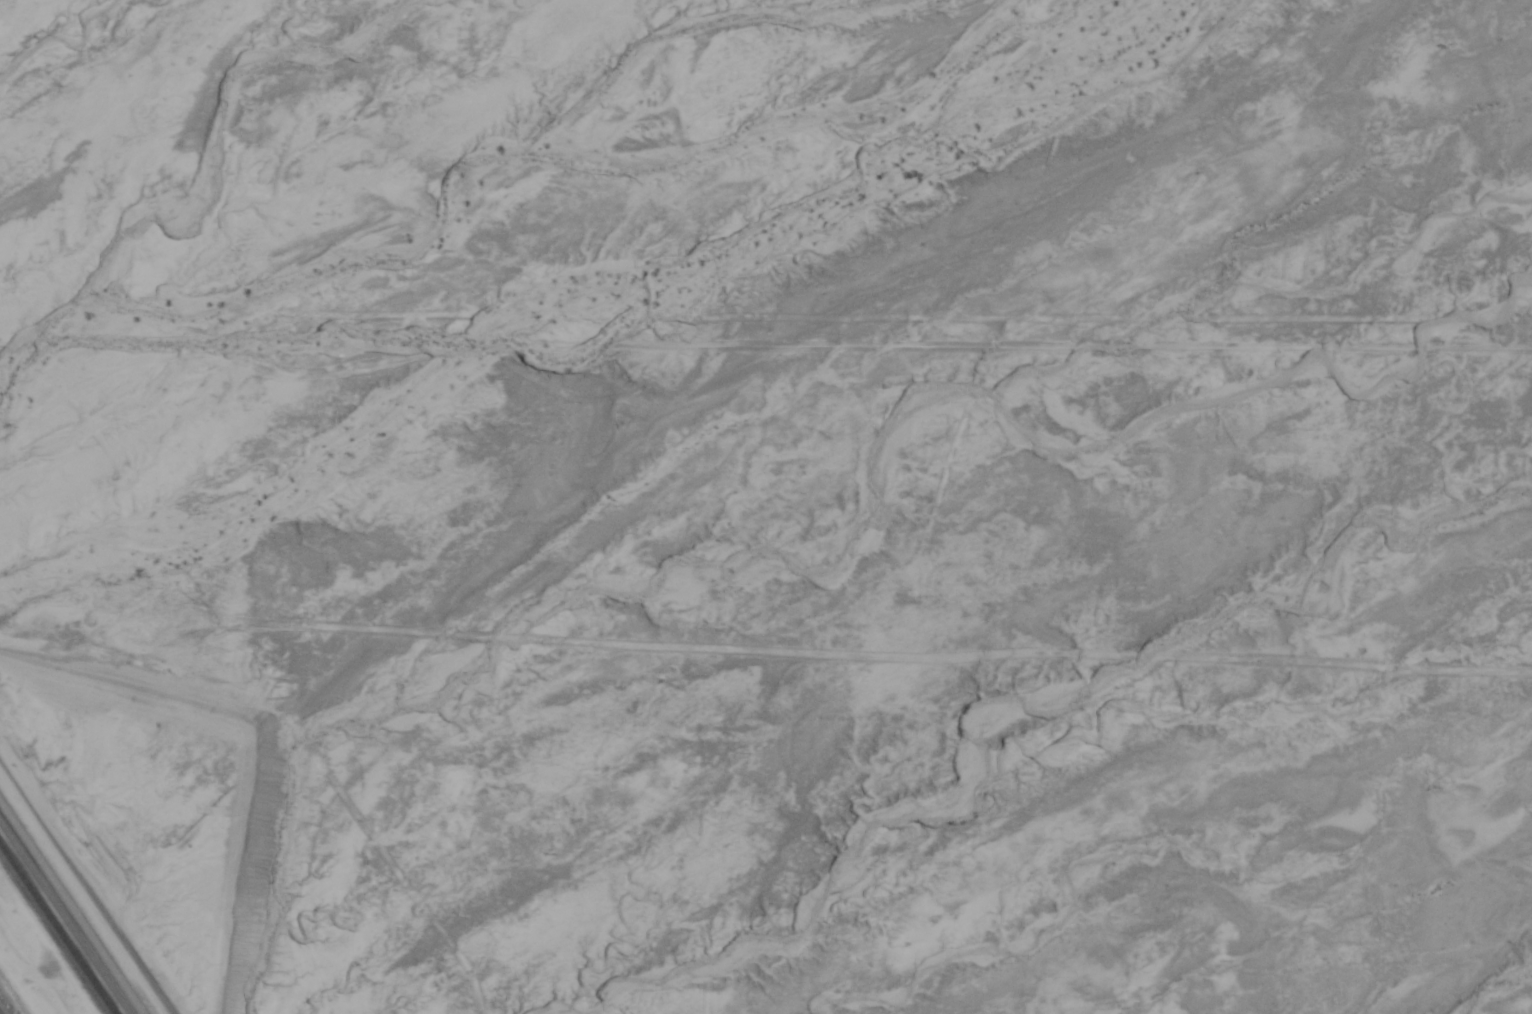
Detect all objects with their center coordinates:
railway: (68, 913)
railway: (58, 926)

